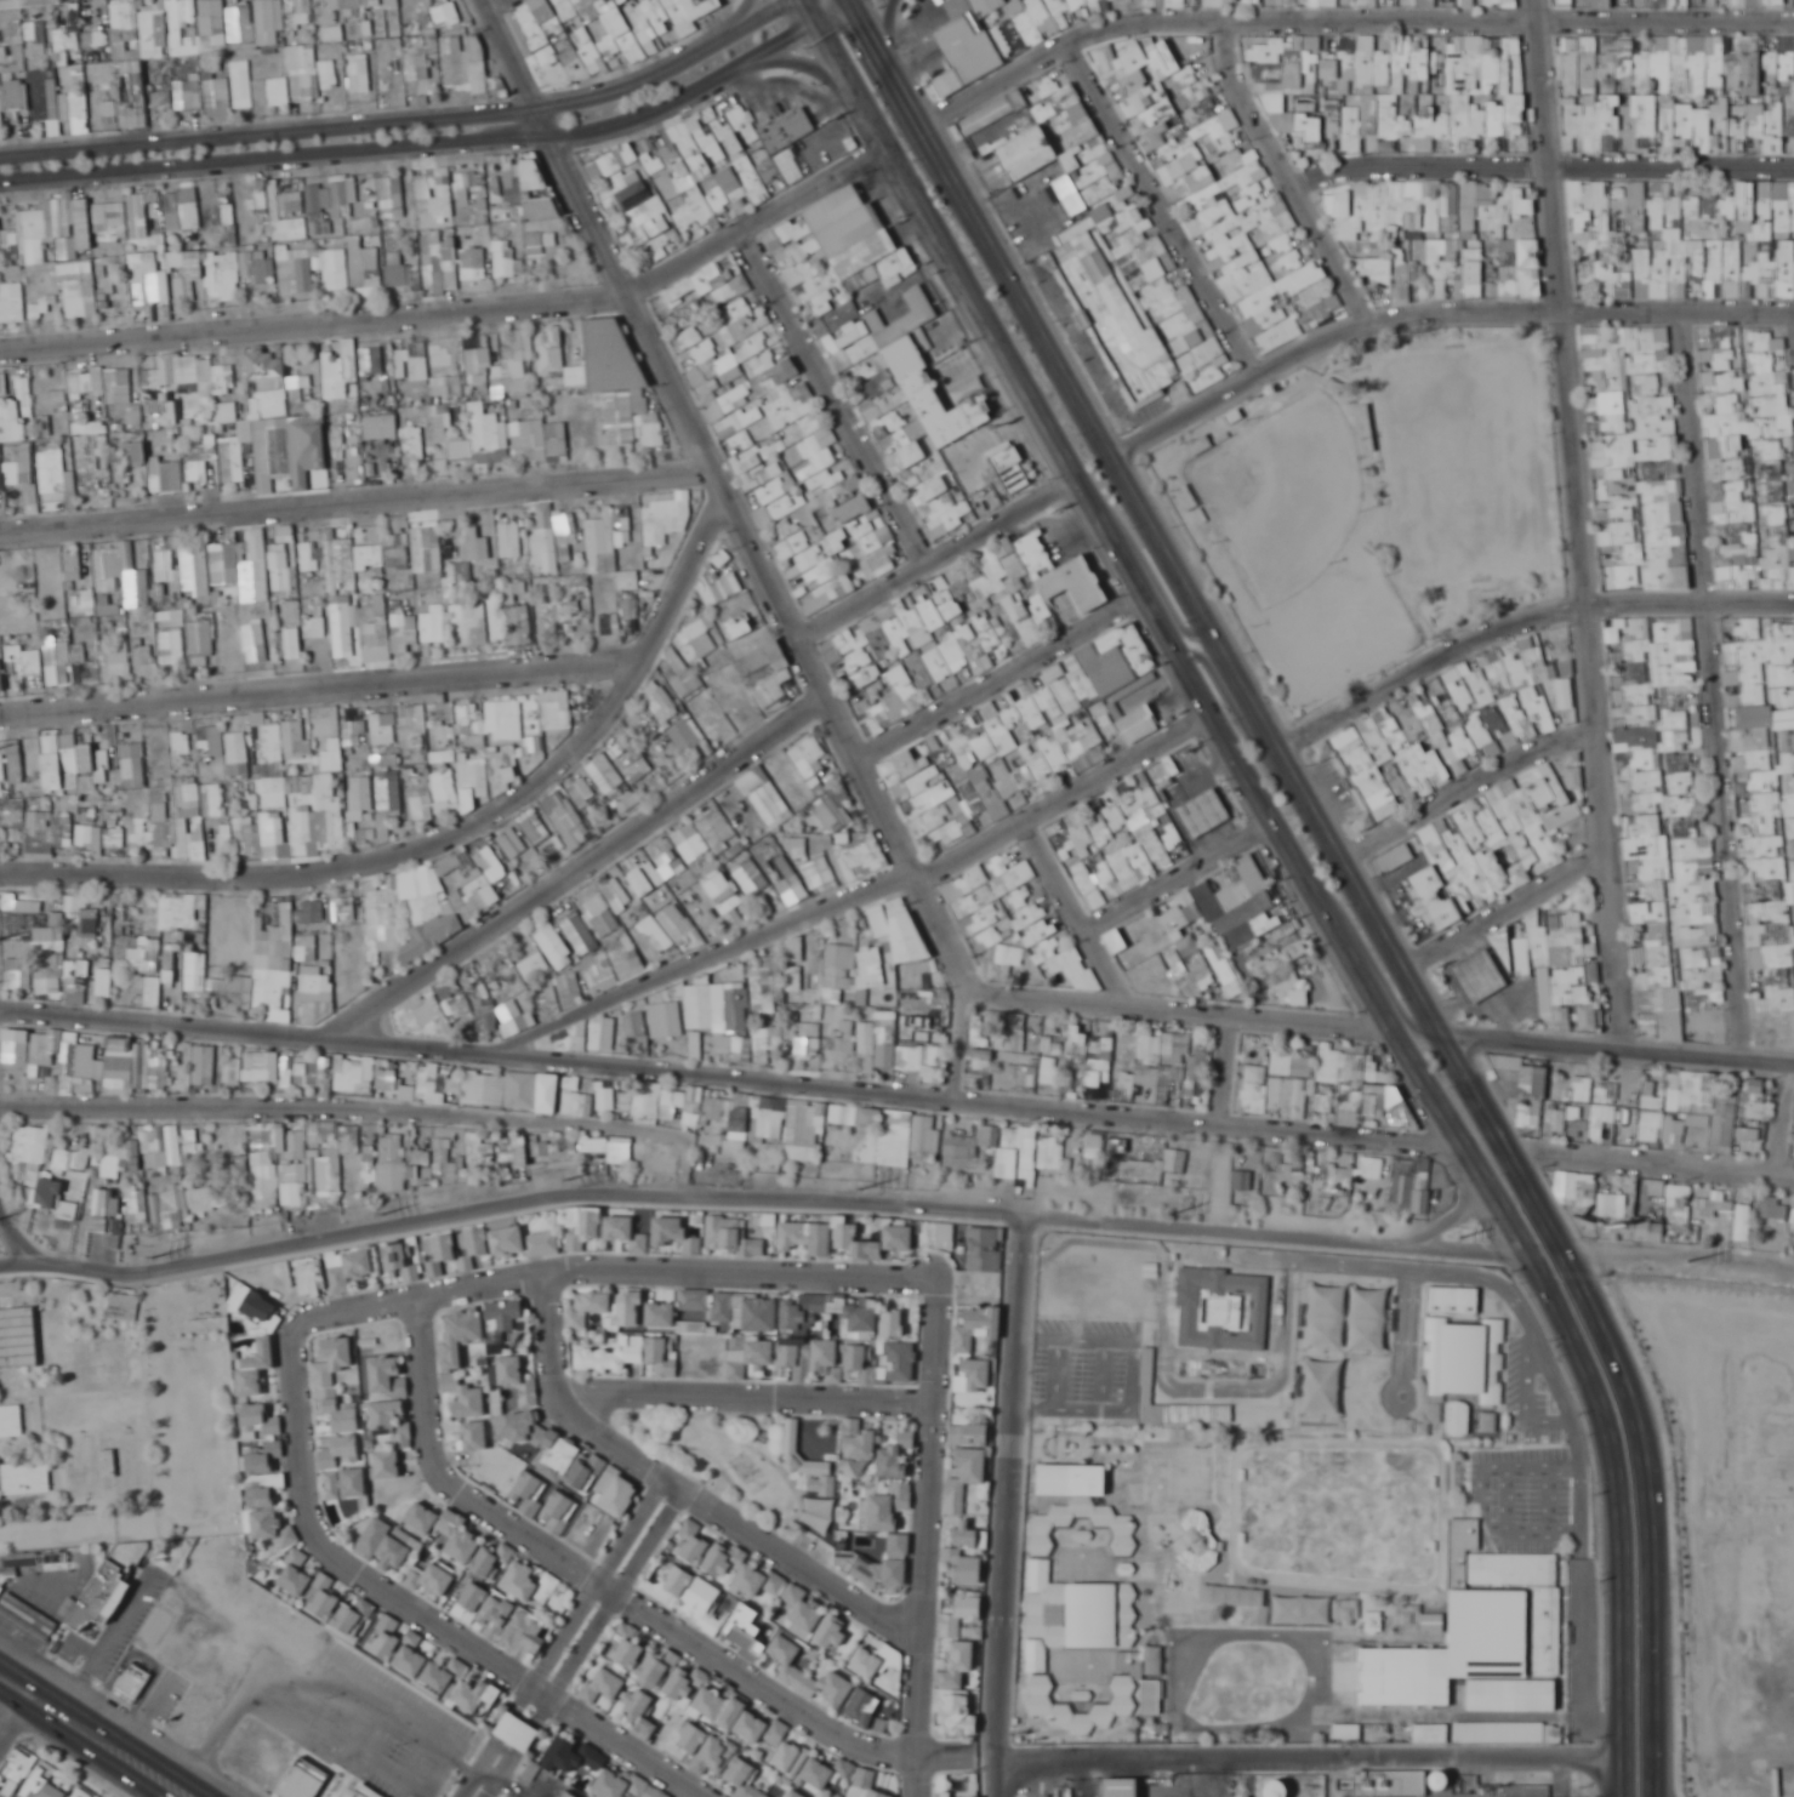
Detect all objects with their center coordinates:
road: (495, 5)
road: (838, 12)
road: (1348, 18)
road: (741, 21)
road: (888, 23)
road: (809, 69)
road: (689, 96)
road: (410, 121)
road: (518, 142)
road: (552, 144)
road: (243, 162)
road: (1543, 165)
road: (1288, 173)
road: (1162, 209)
road: (757, 216)
road: (940, 239)
road: (1434, 310)
road: (313, 316)
road: (1044, 340)
road: (836, 394)
road: (358, 500)
road: (1578, 525)
road: (1713, 684)
road: (822, 686)
gas station: (1203, 816)
gas station: (1474, 970)
road: (106, 1727)

